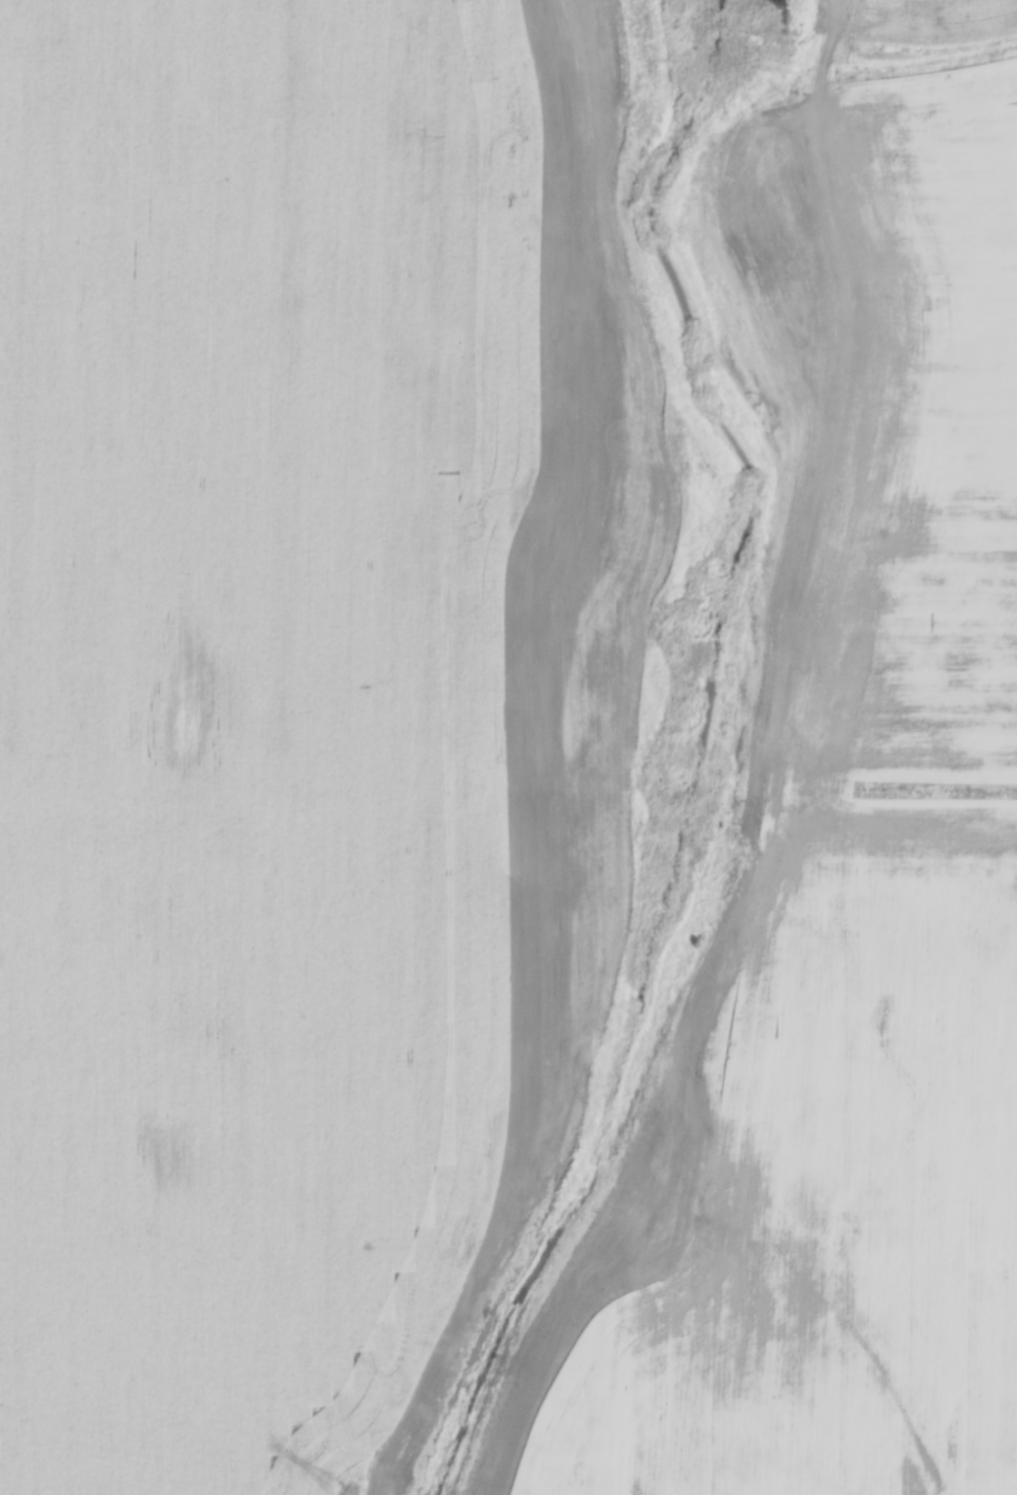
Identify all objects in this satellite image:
power tower: (340, 1486)

